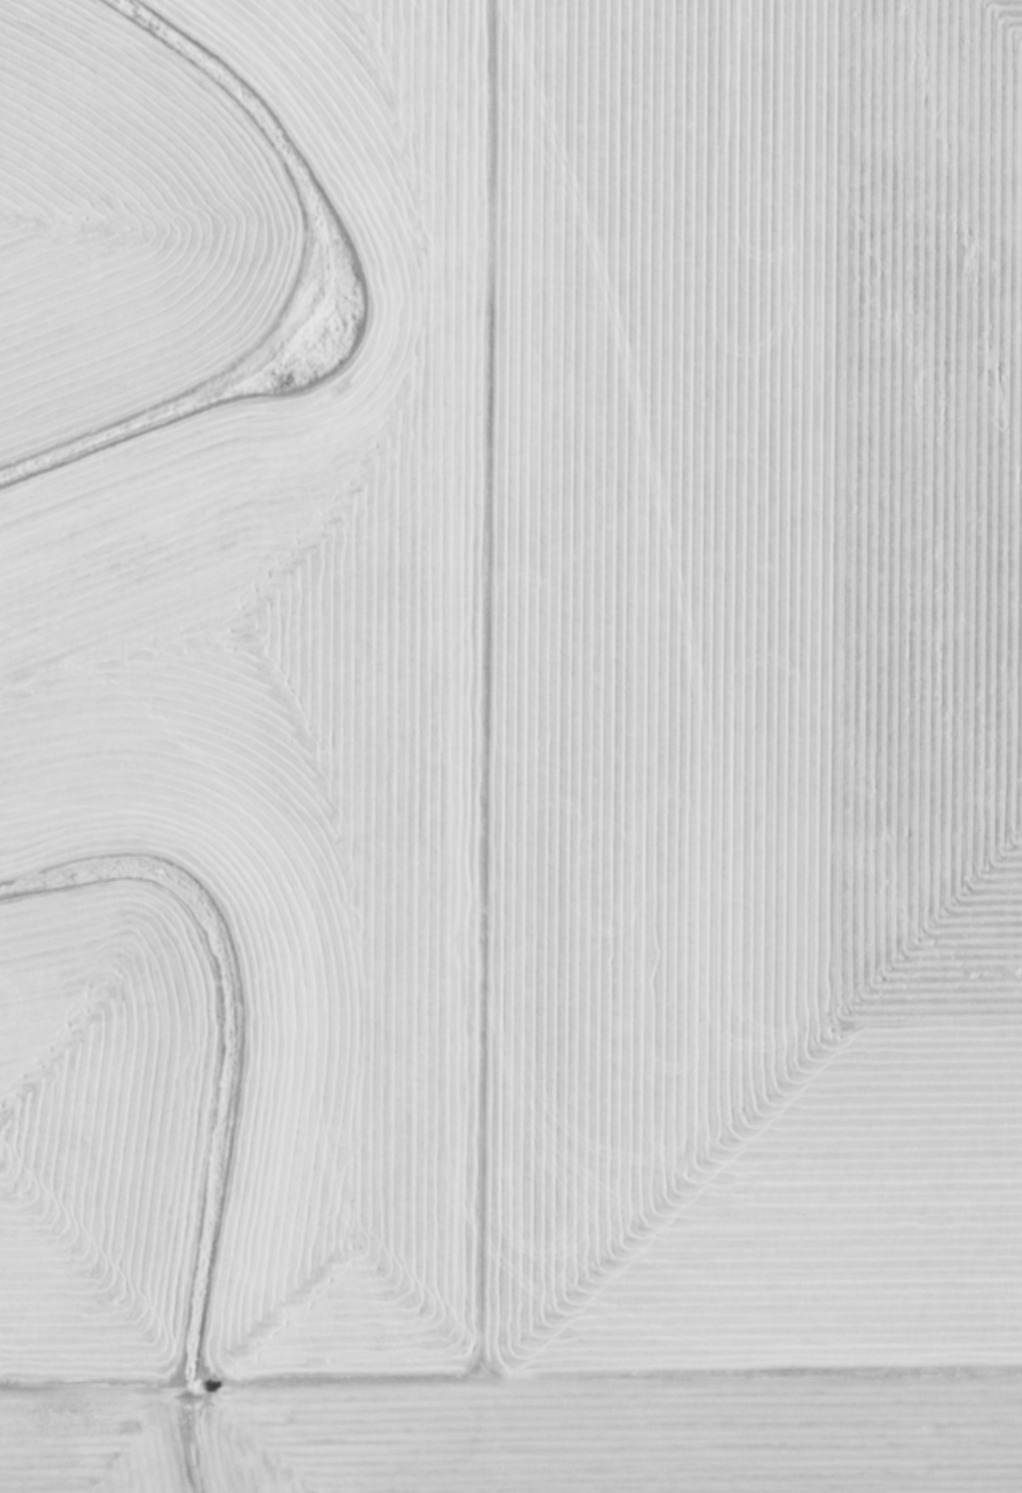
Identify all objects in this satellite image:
crop: (511, 746)

